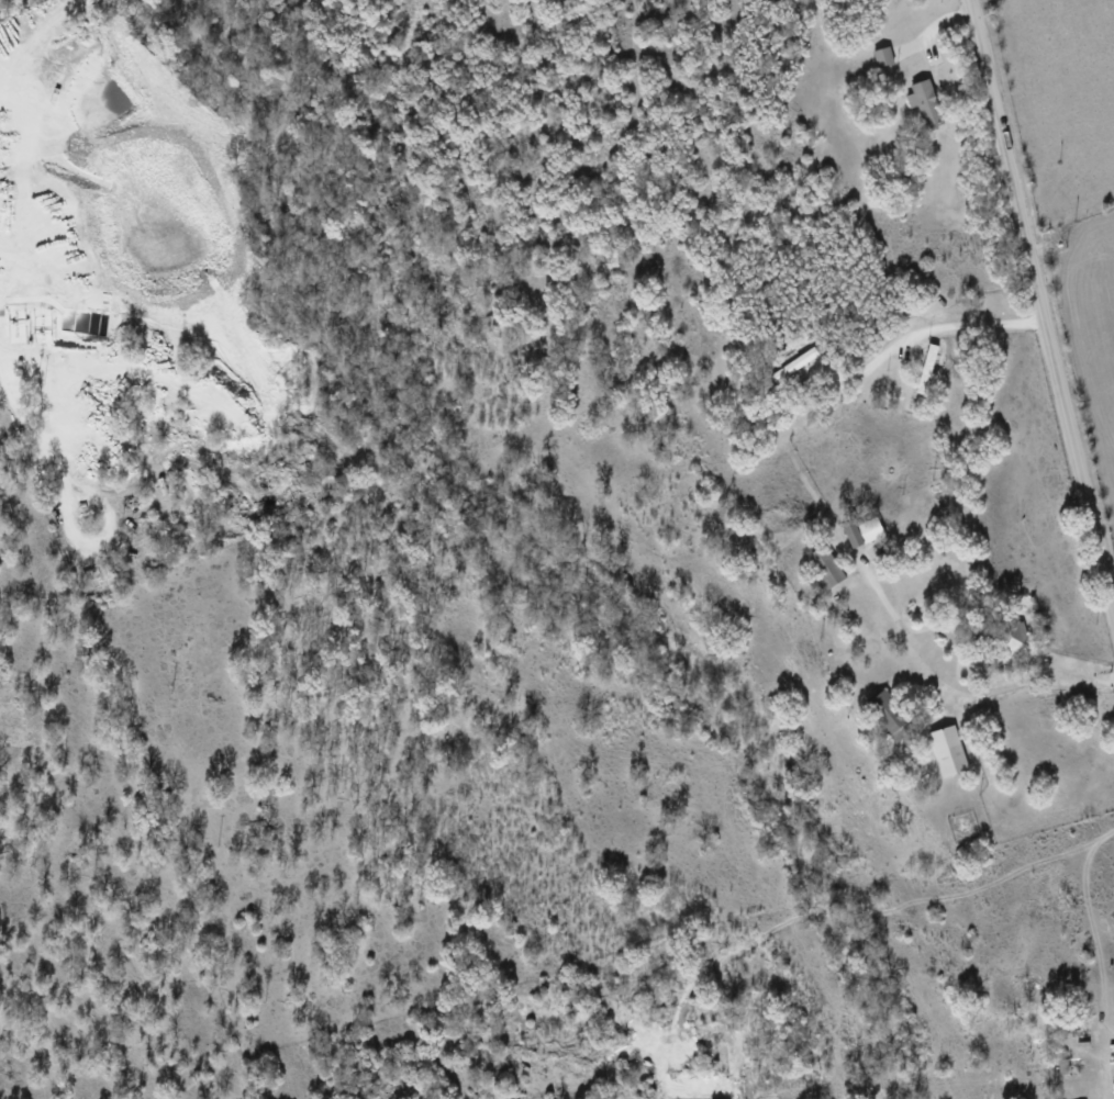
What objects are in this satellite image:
road: (38, 40)
building: (925, 102)
road: (1039, 306)
road: (935, 329)
building: (794, 363)
building: (861, 530)
building: (824, 567)
building: (1015, 638)
road: (958, 685)
building: (889, 716)
building: (948, 750)

